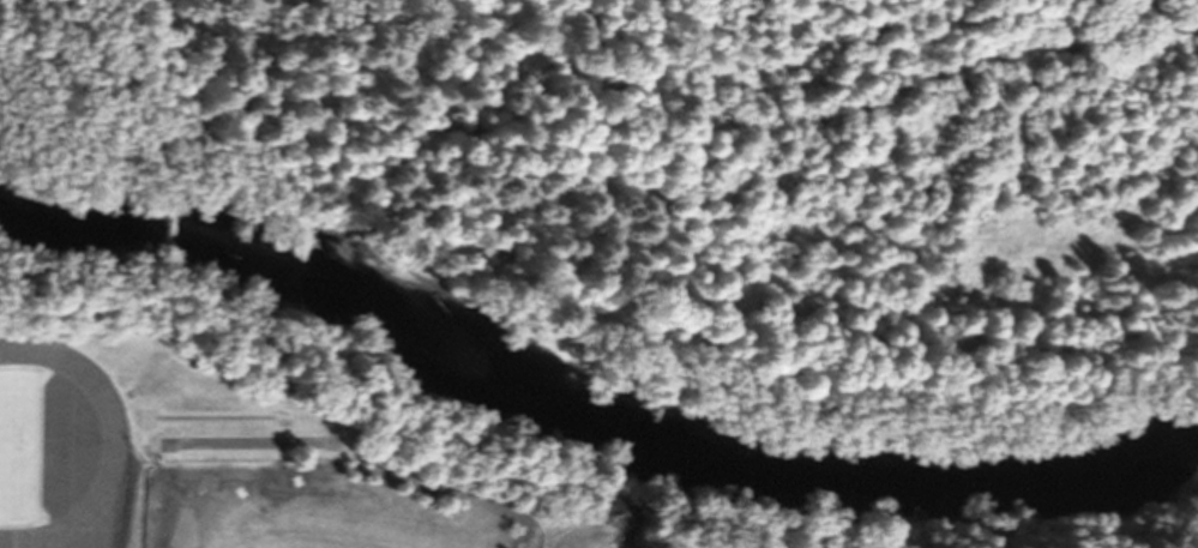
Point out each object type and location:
park: (391, 137)
quarry: (944, 209)
river: (580, 396)
park: (8, 446)

